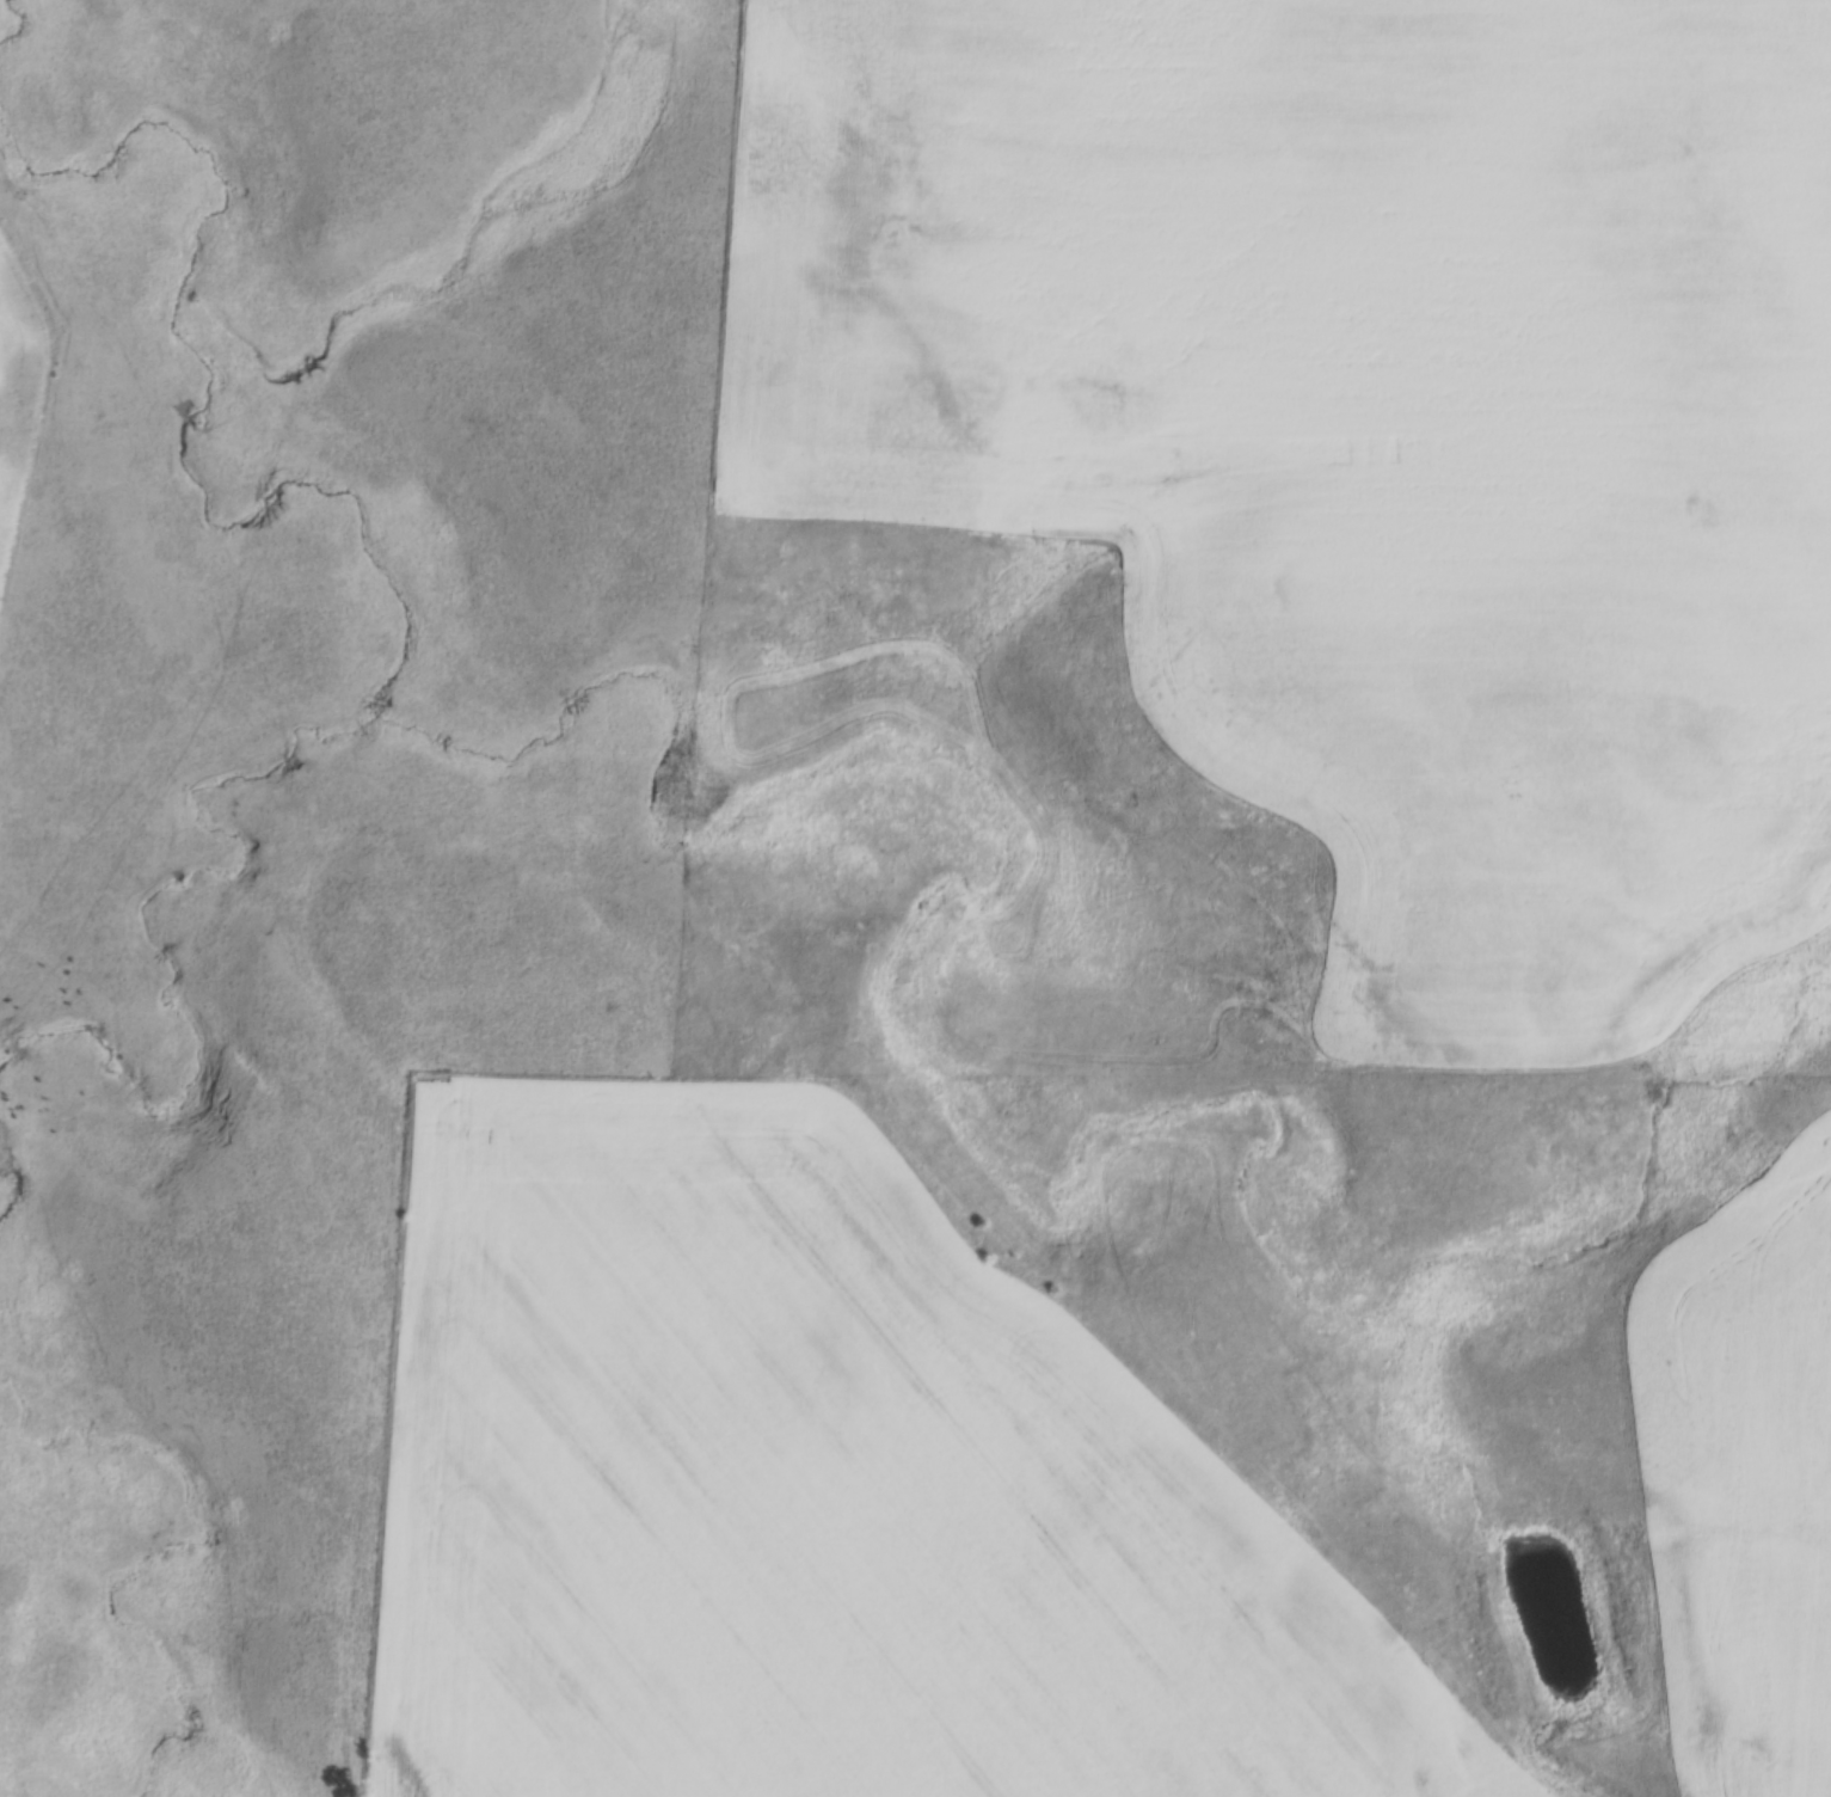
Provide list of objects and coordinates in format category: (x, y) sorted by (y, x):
crop: (1319, 320)
crop: (14, 379)
crop: (1740, 1478)

